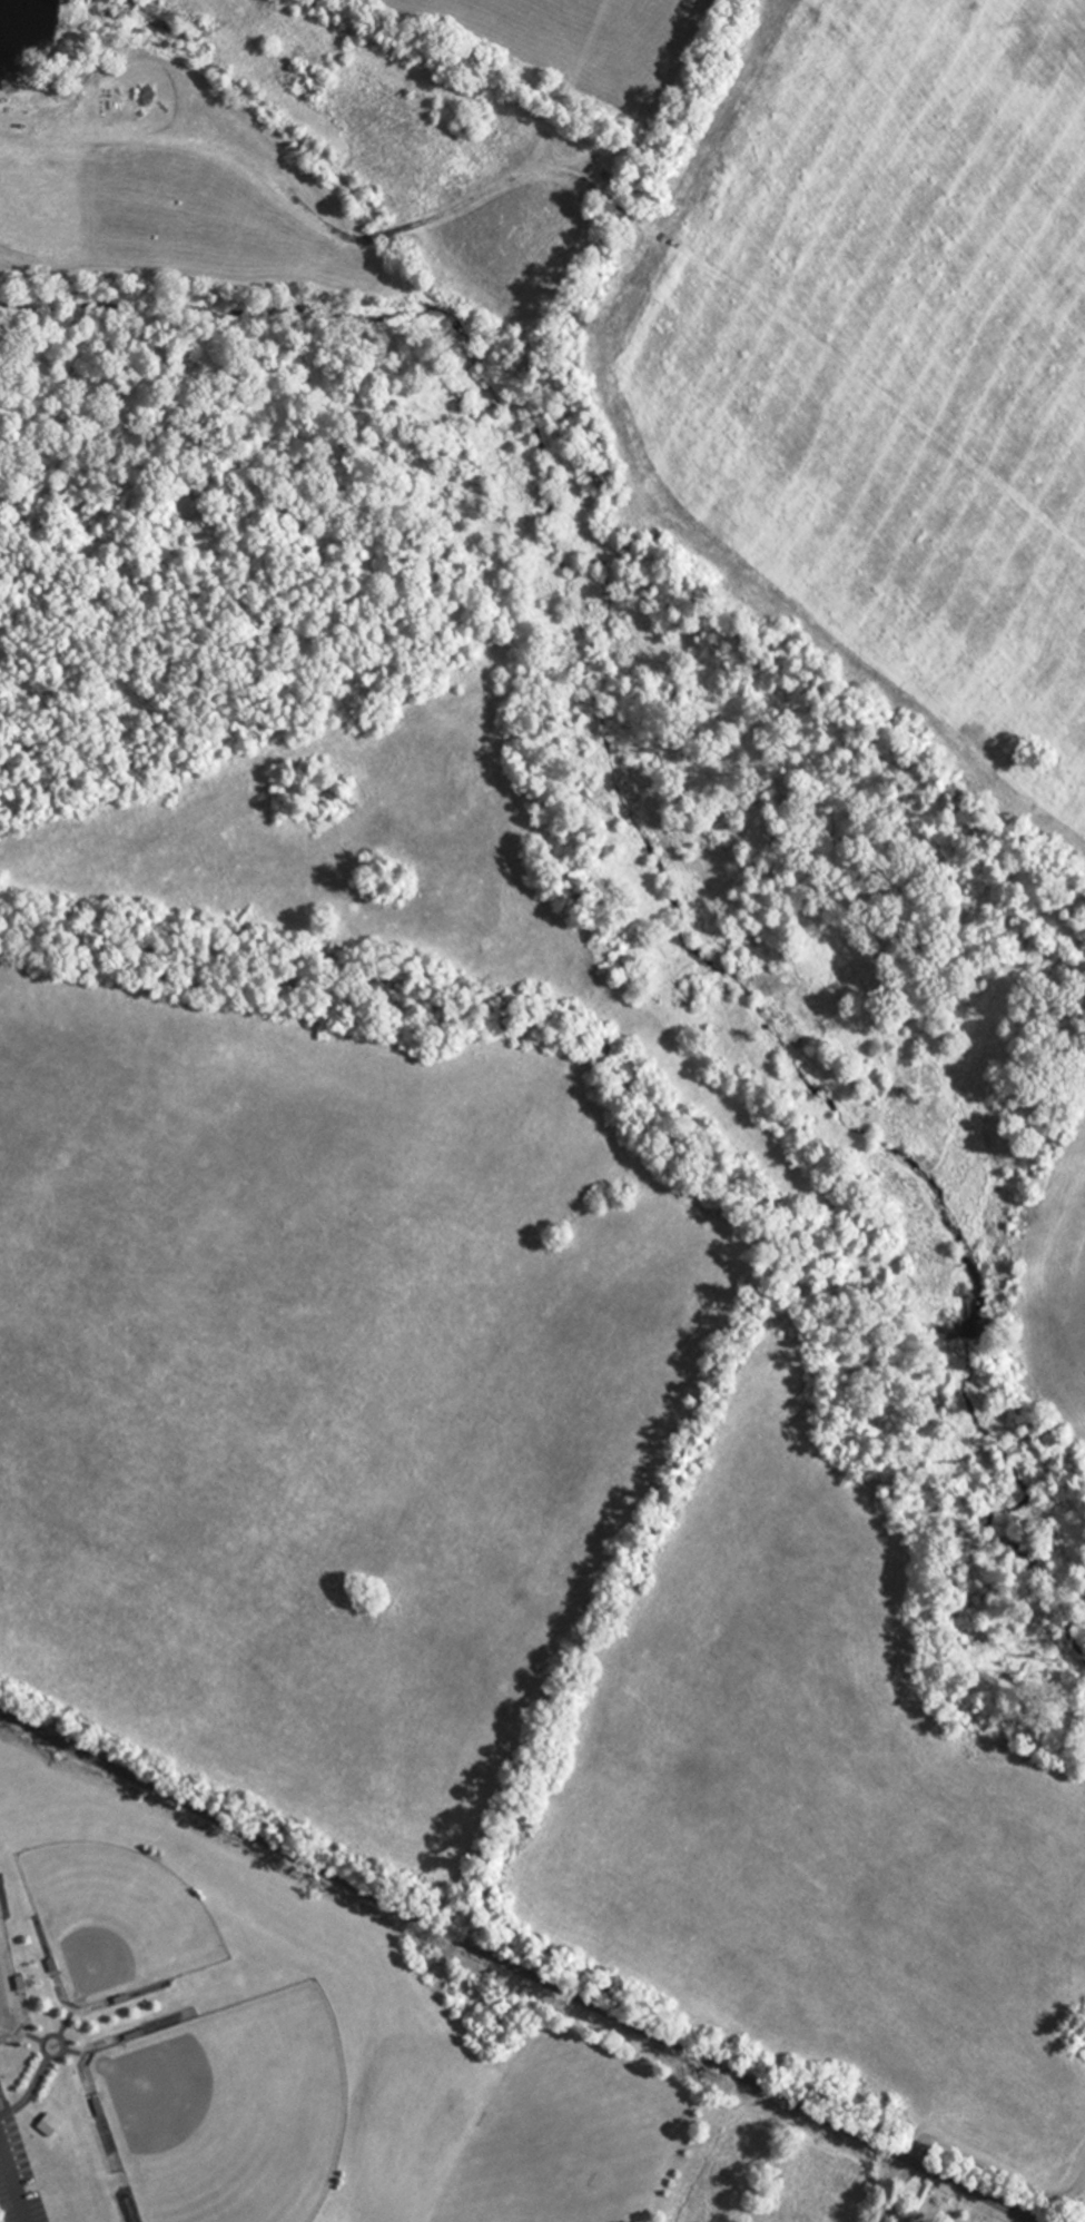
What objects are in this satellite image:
crop: (570, 40)
crop: (167, 187)
crop: (511, 221)
crop: (884, 368)
crop: (378, 876)
crop: (1058, 1284)
crop: (322, 1393)
crop: (818, 1815)
park: (120, 1914)
road: (517, 1965)
park: (4, 2011)
park: (200, 2025)
park: (236, 2114)
park: (545, 2163)
road: (994, 2167)
road: (14, 2179)
crop: (1079, 2194)

